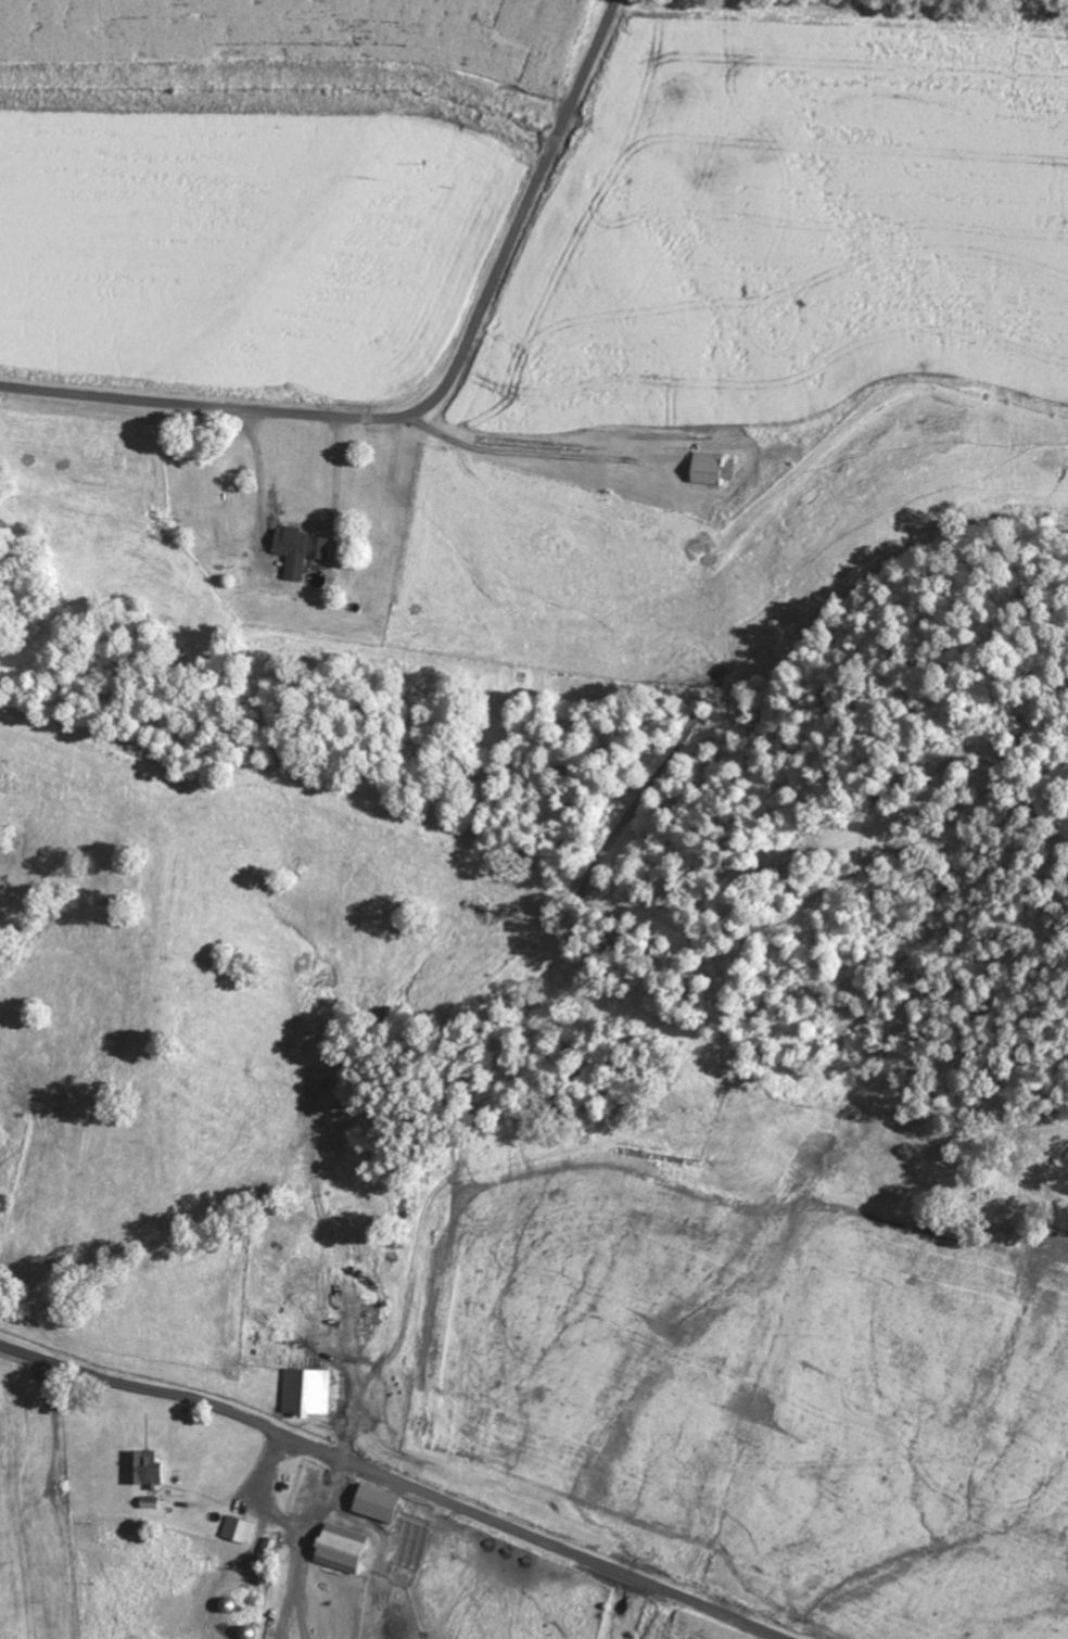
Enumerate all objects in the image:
road: (432, 397)
building: (703, 469)
building: (294, 550)
building: (305, 1393)
building: (145, 1470)
road: (394, 1481)
building: (379, 1504)
building: (237, 1529)
building: (344, 1550)
building: (247, 1634)

